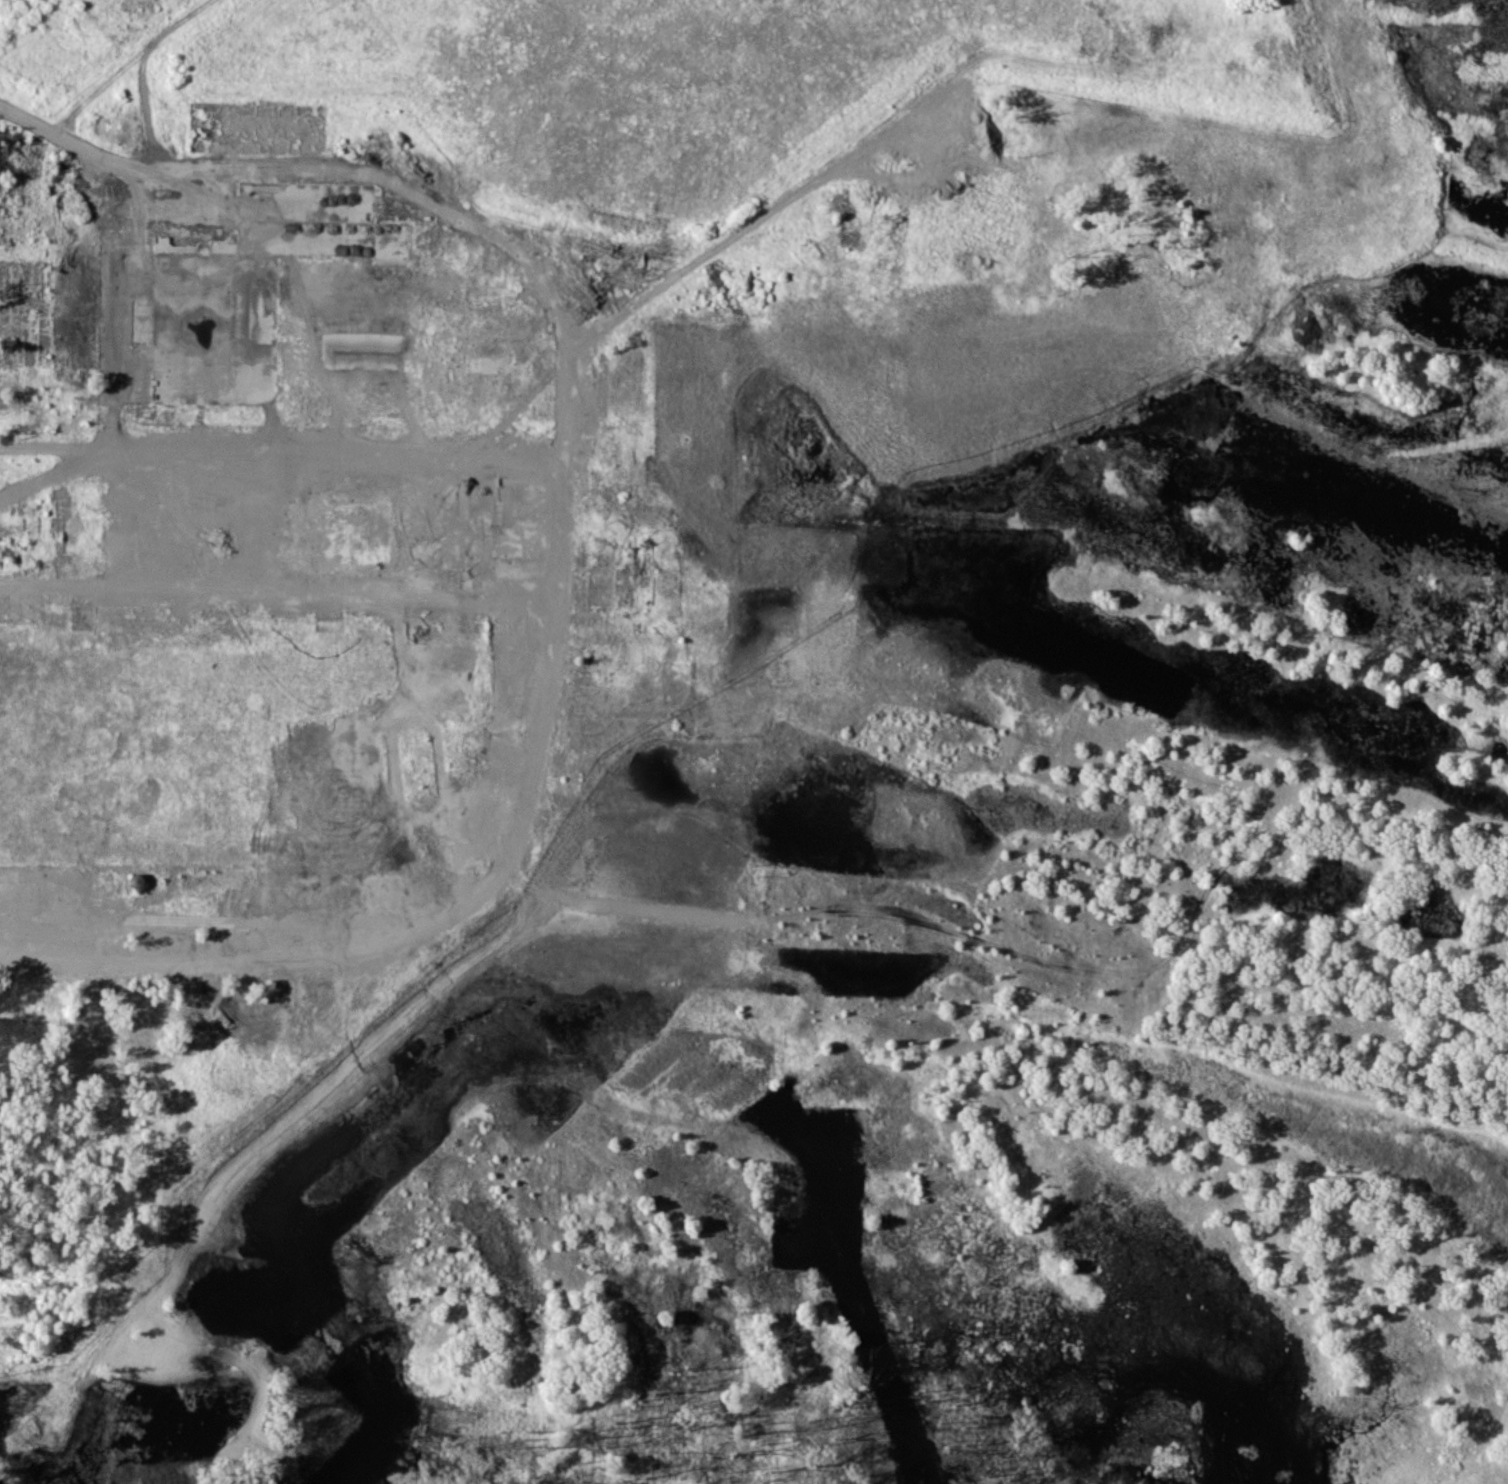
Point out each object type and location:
road: (127, 64)
landfill: (688, 76)
road: (570, 344)
building: (138, 877)
road: (456, 902)

